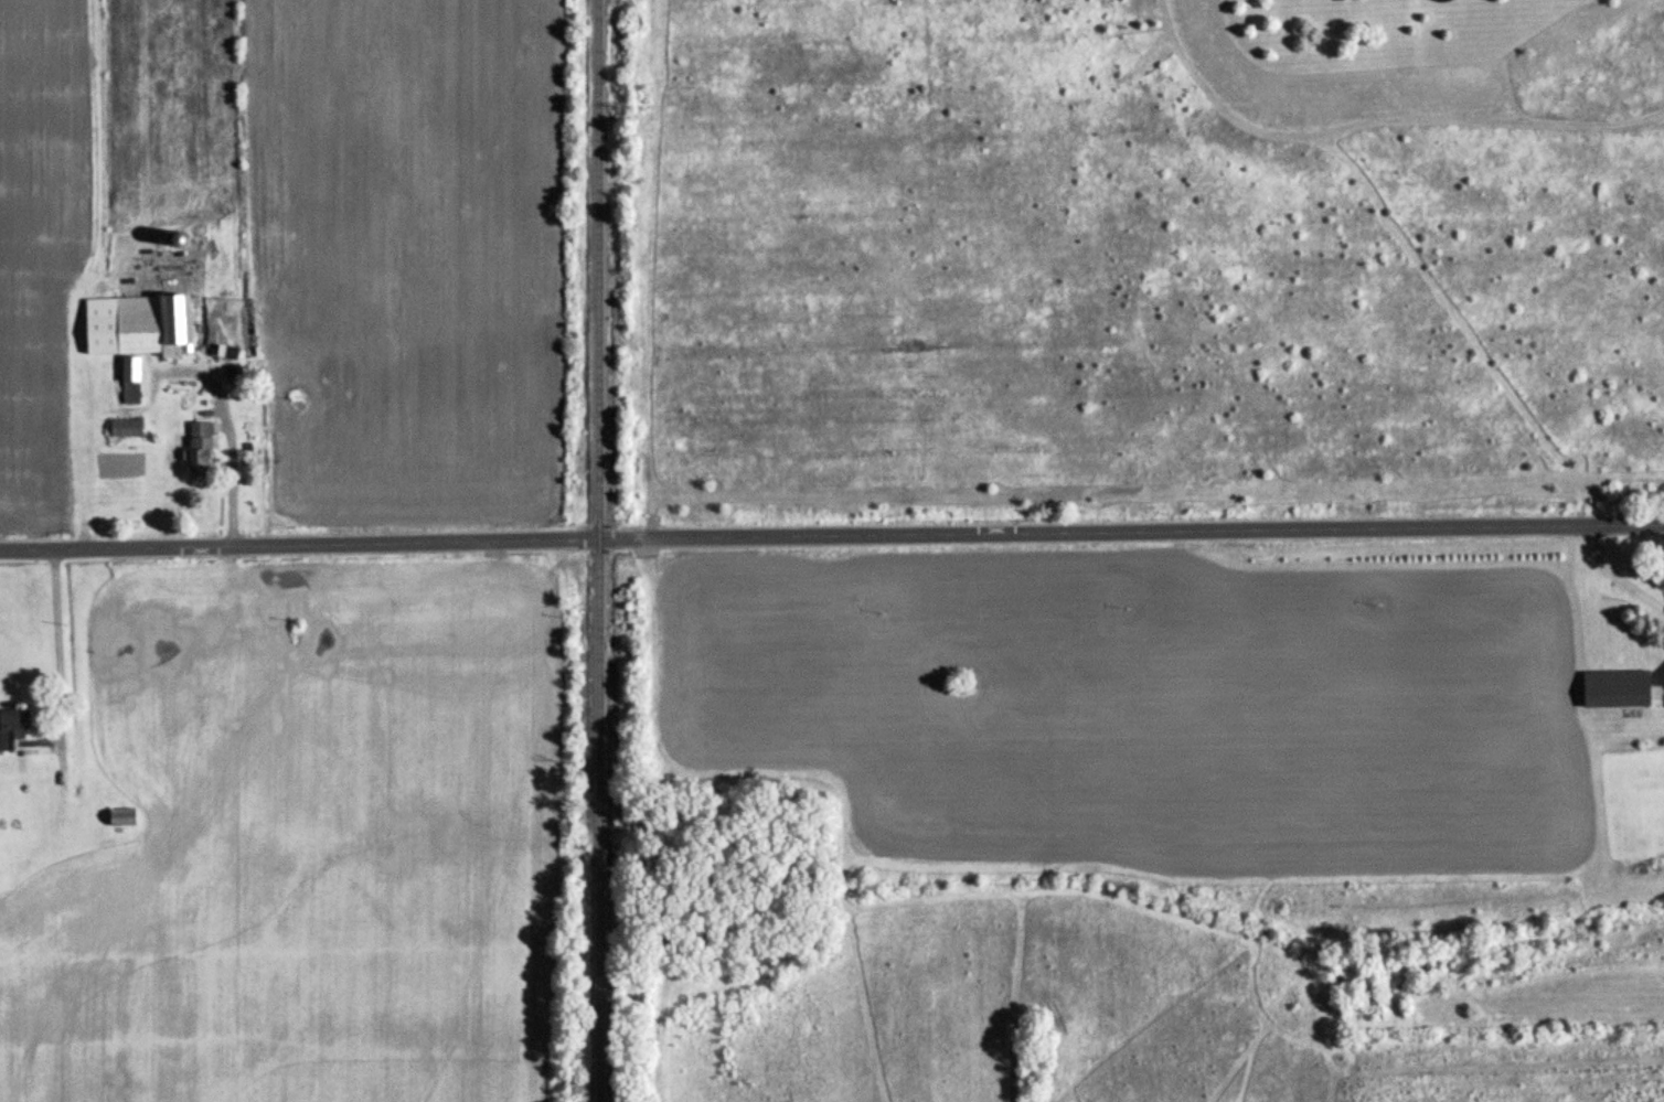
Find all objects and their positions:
building: (131, 332)
building: (125, 429)
building: (198, 449)
road: (223, 464)
road: (831, 536)
railway: (599, 550)
road: (1615, 573)
road: (50, 638)
building: (1622, 688)
building: (9, 728)
building: (121, 816)

